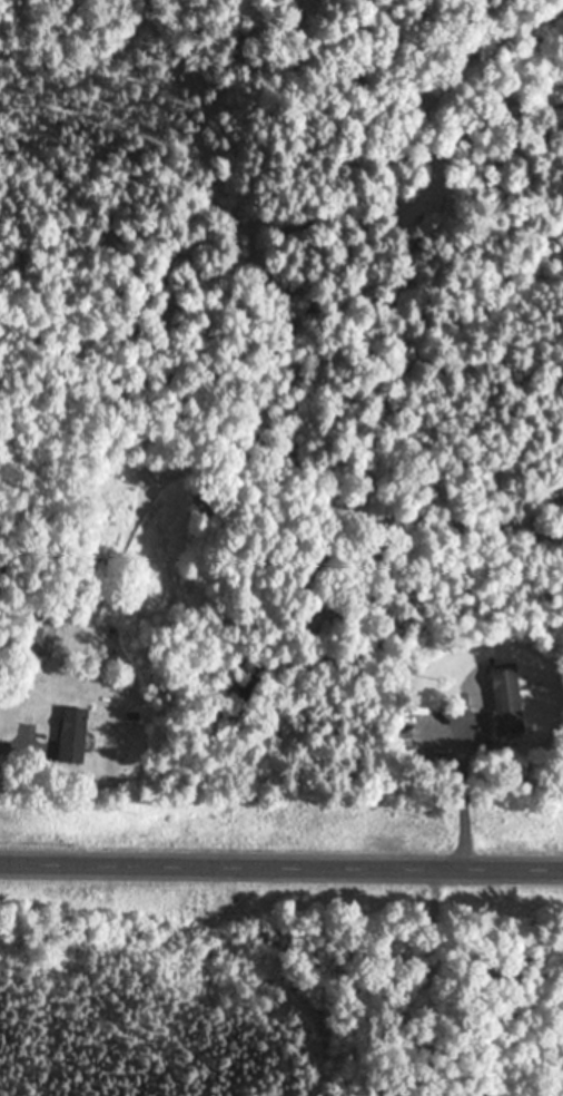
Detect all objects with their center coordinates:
building: (41, 635)
building: (507, 699)
building: (73, 735)
road: (280, 862)

